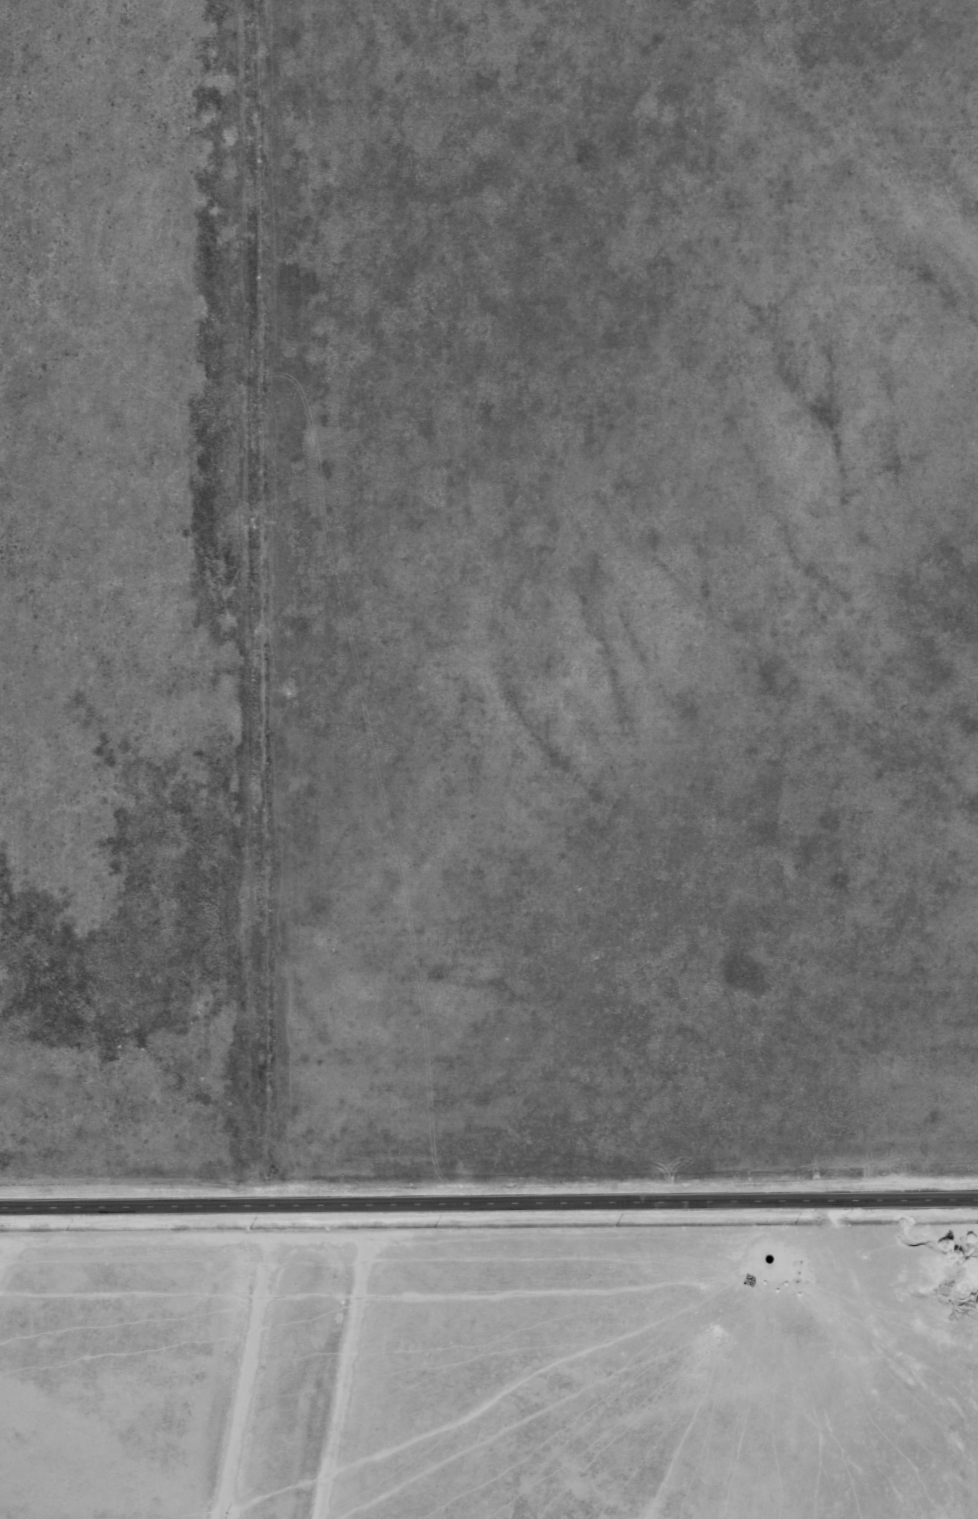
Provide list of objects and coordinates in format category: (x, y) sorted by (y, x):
road: (489, 1210)

